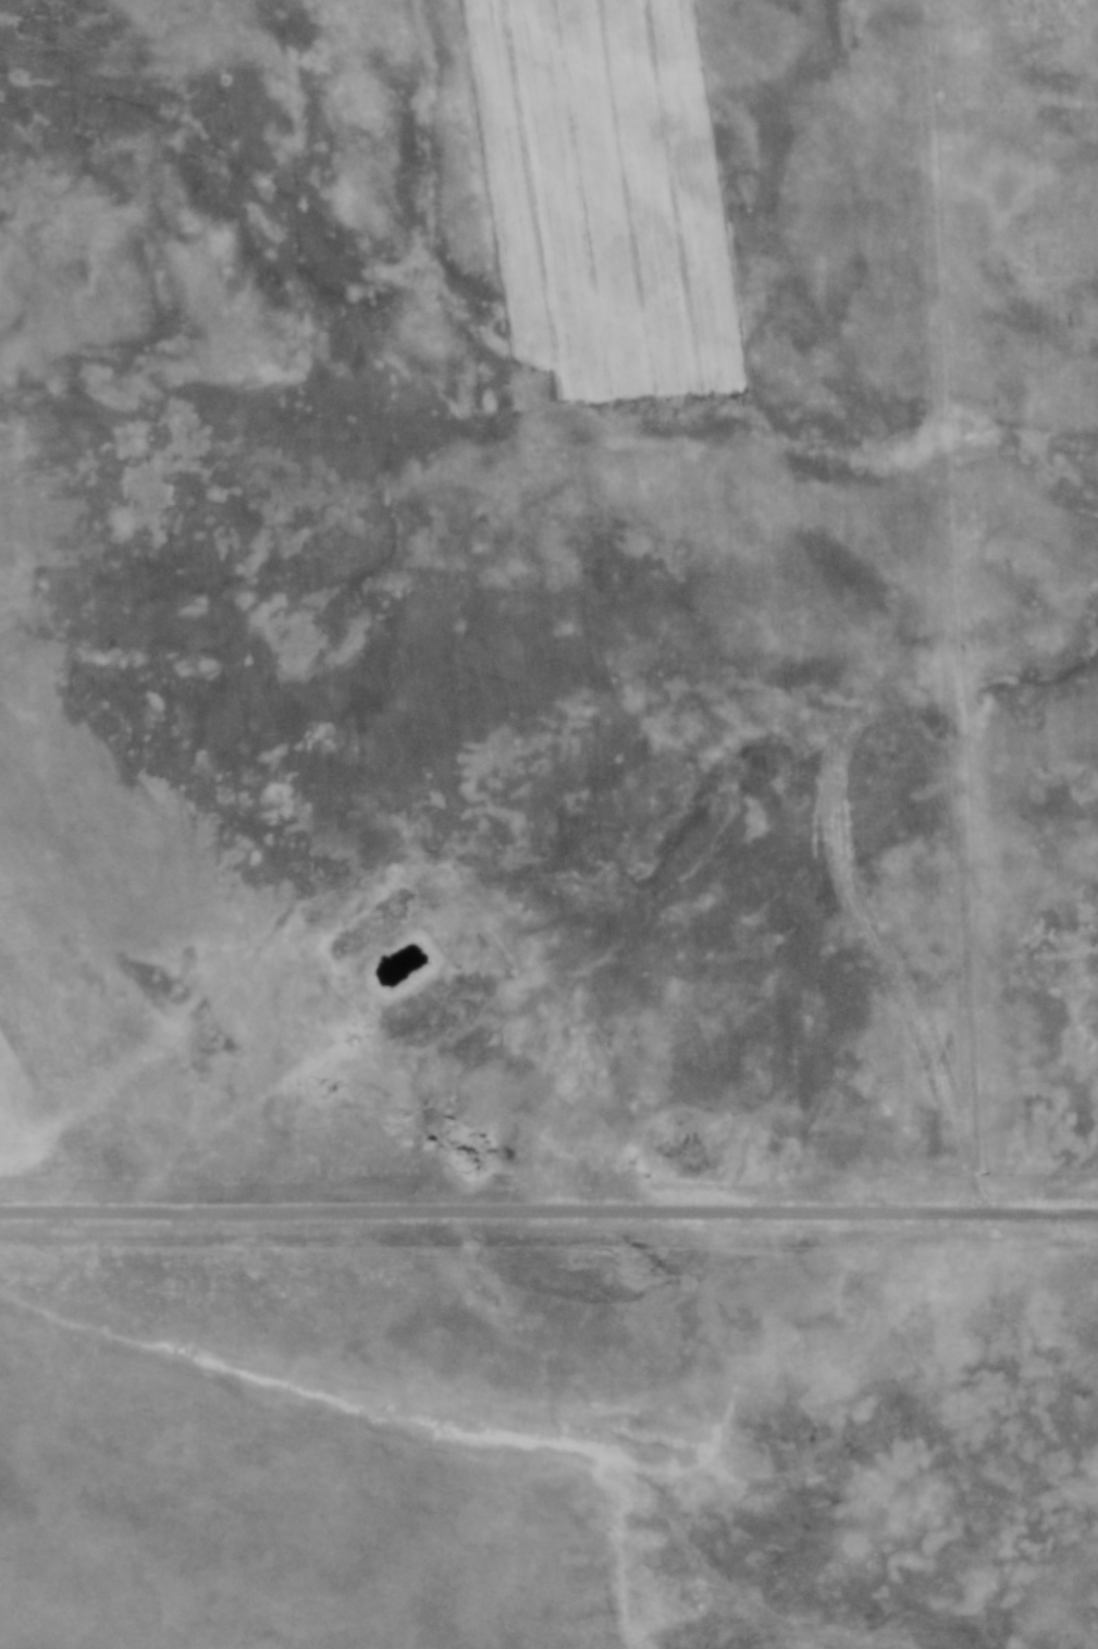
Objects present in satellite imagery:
road: (548, 1196)

